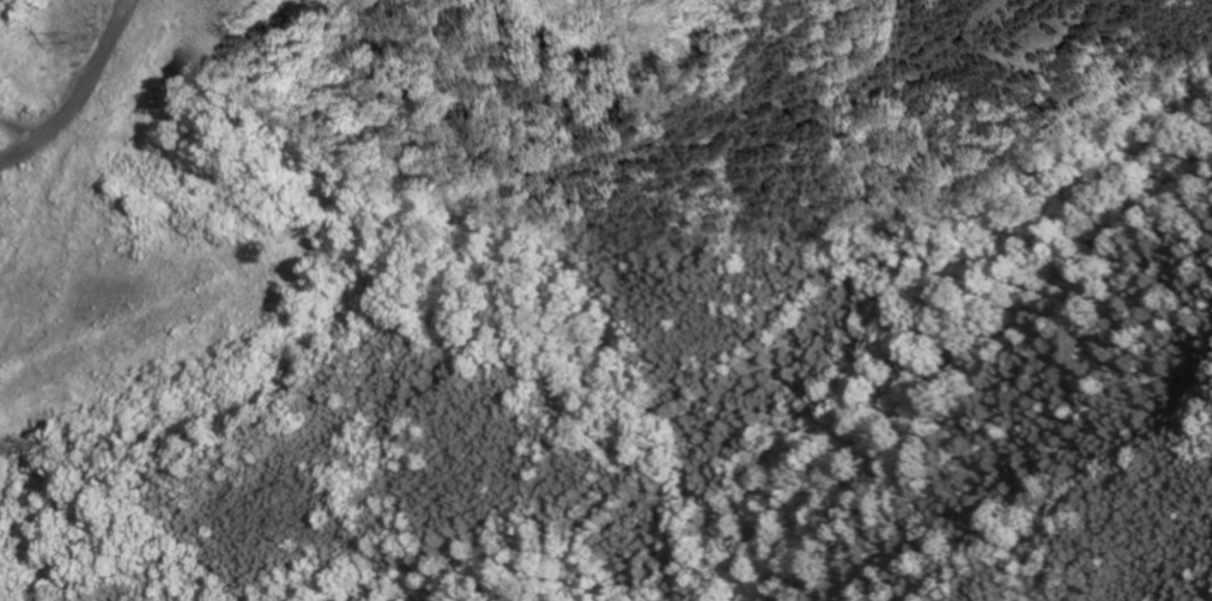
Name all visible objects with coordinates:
power tower: (90, 34)
road: (44, 81)
road: (79, 91)

